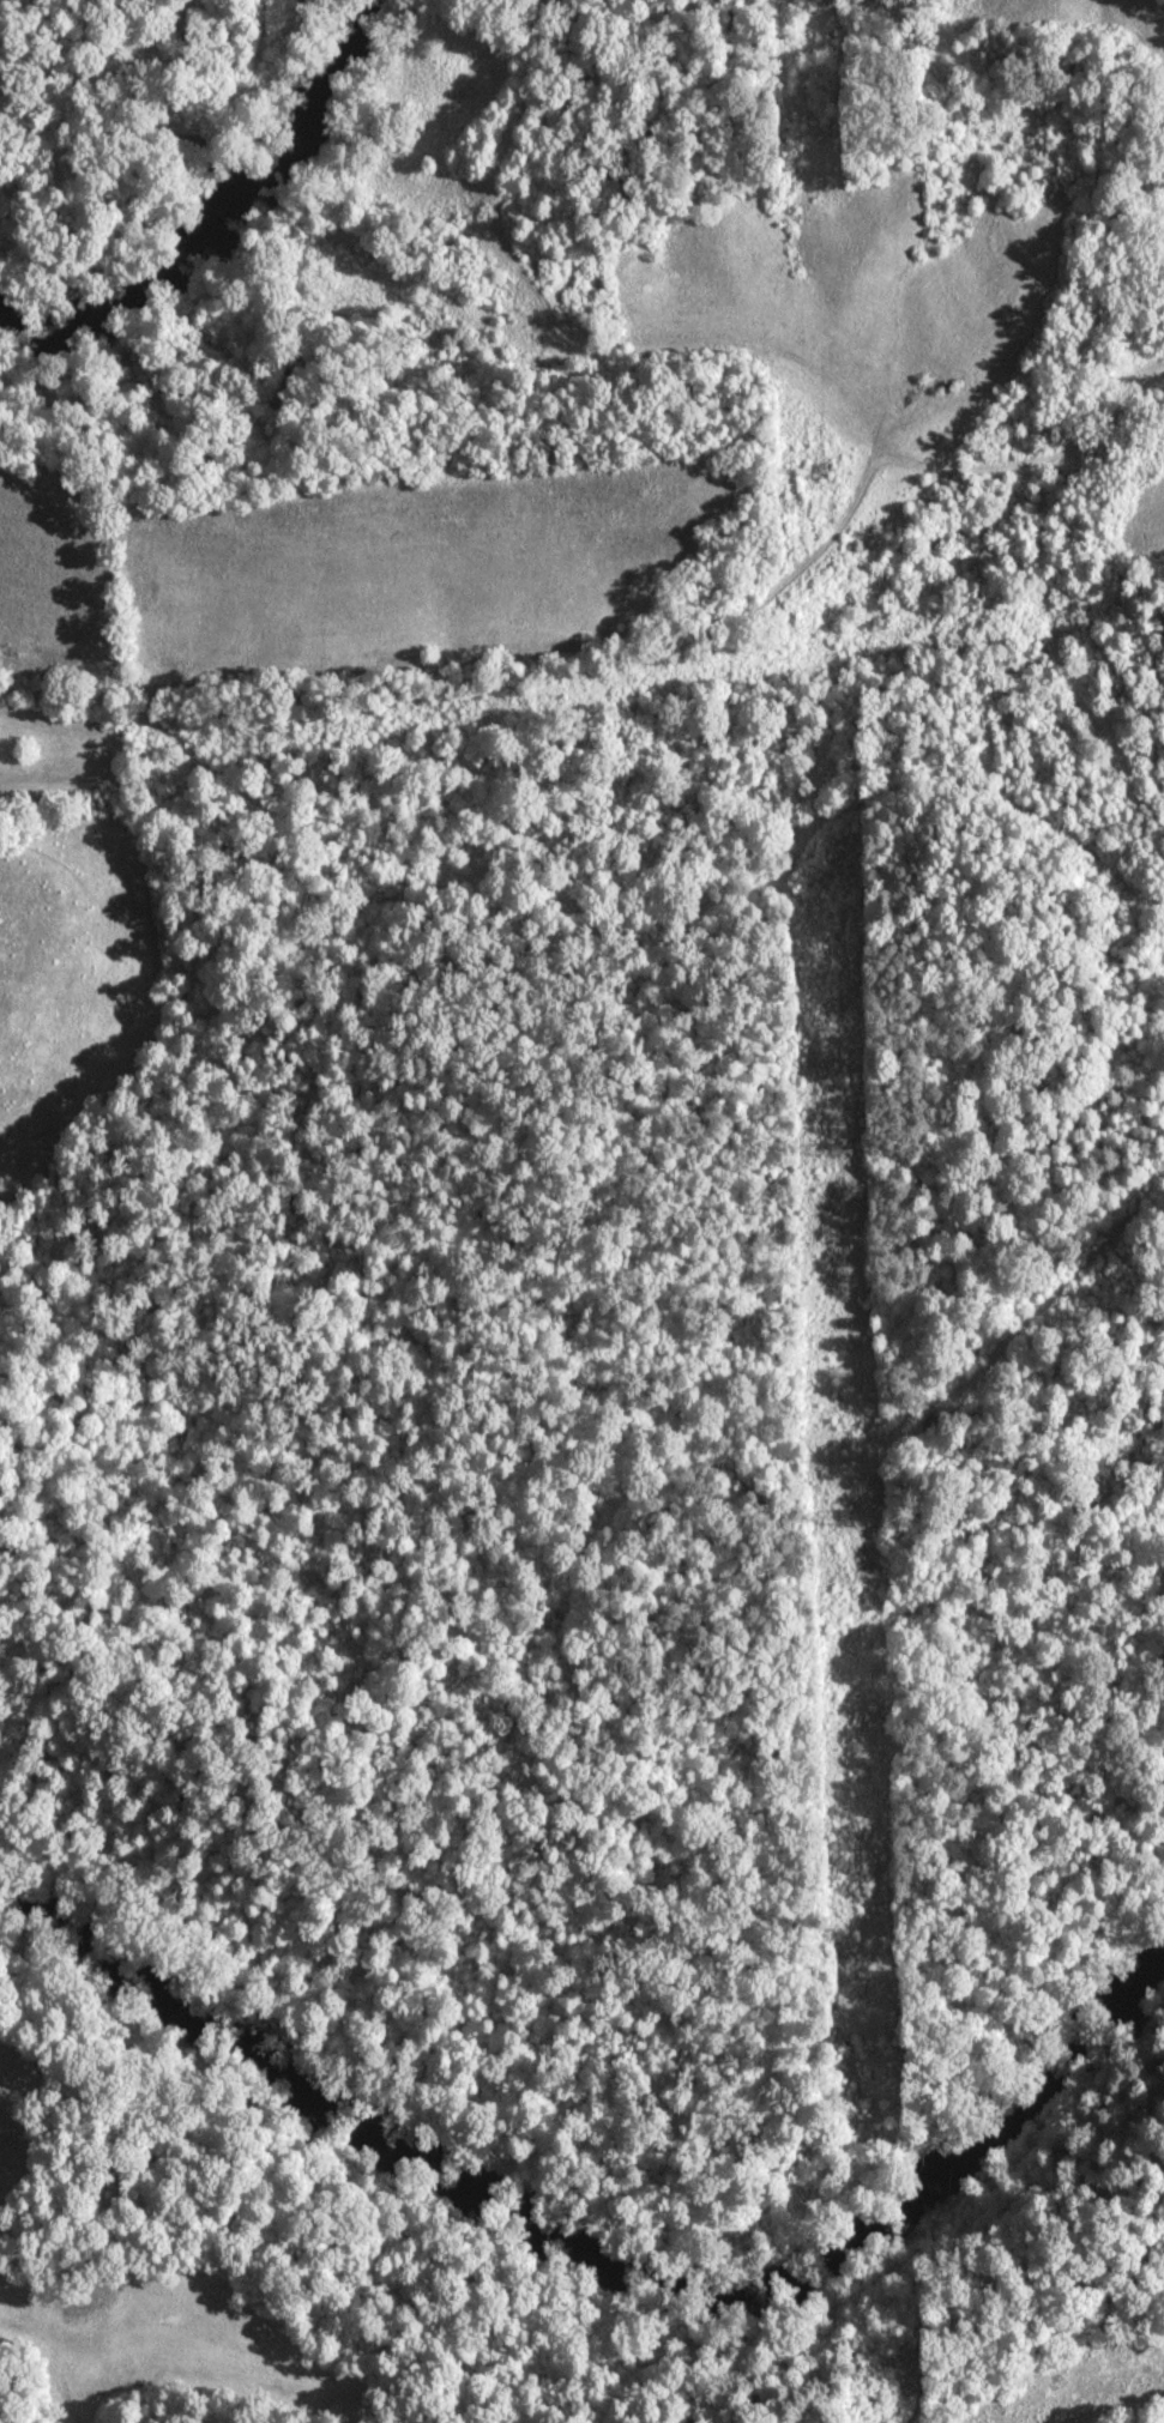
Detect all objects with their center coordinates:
road: (1115, 418)
power tower: (819, 460)
road: (571, 673)
power tower: (828, 1147)
power tower: (842, 1510)
power tower: (885, 2363)

